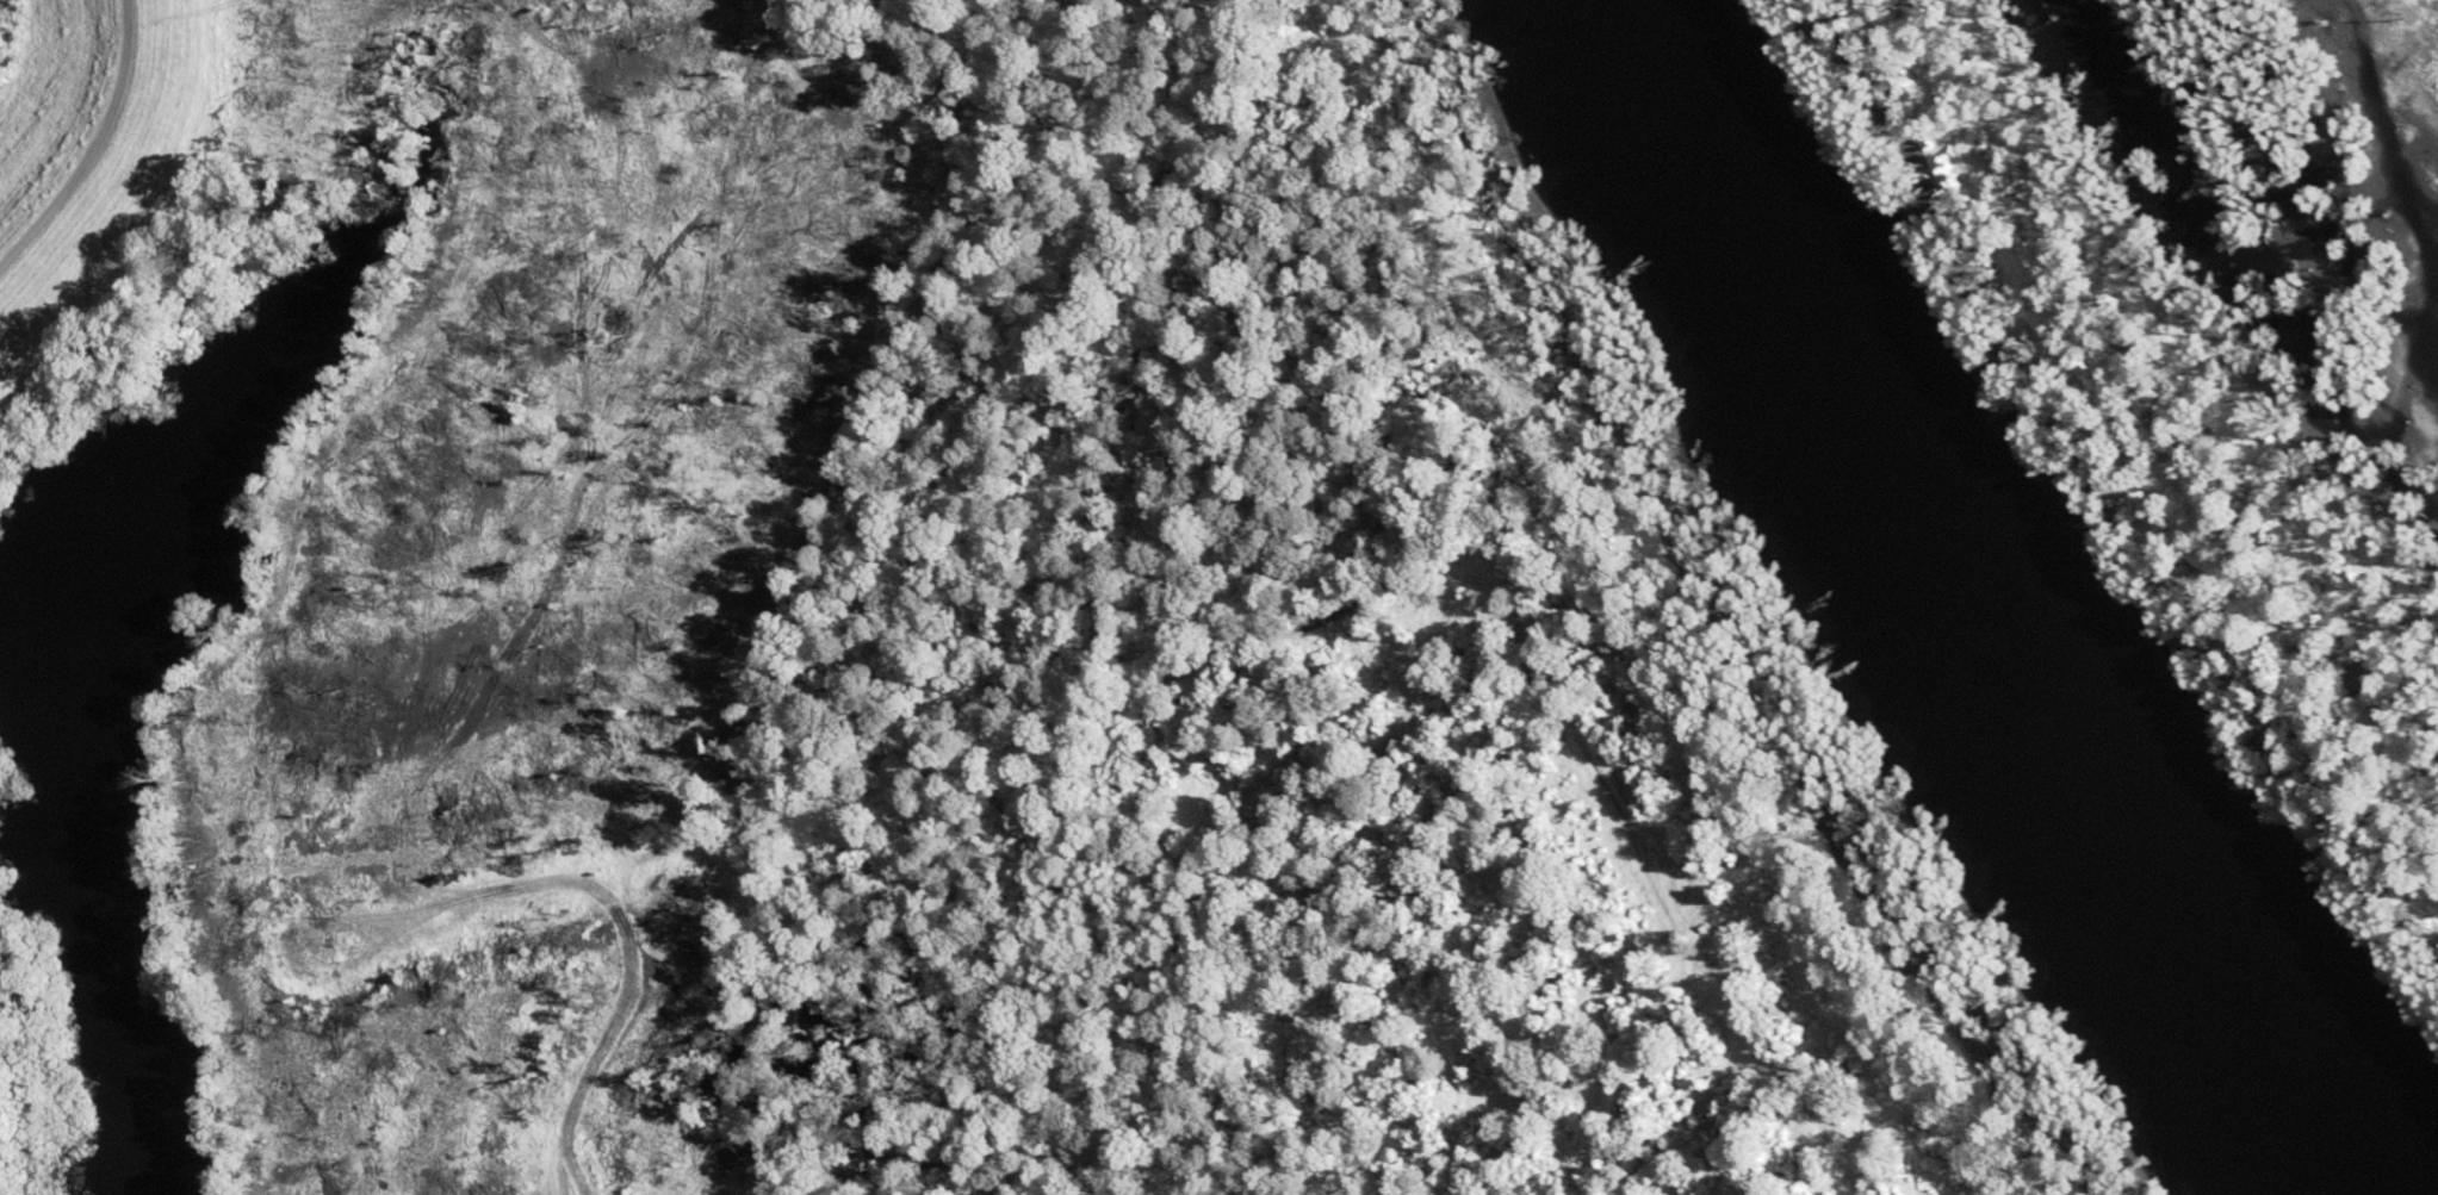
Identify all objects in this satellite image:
road: (89, 145)
river: (1903, 630)

